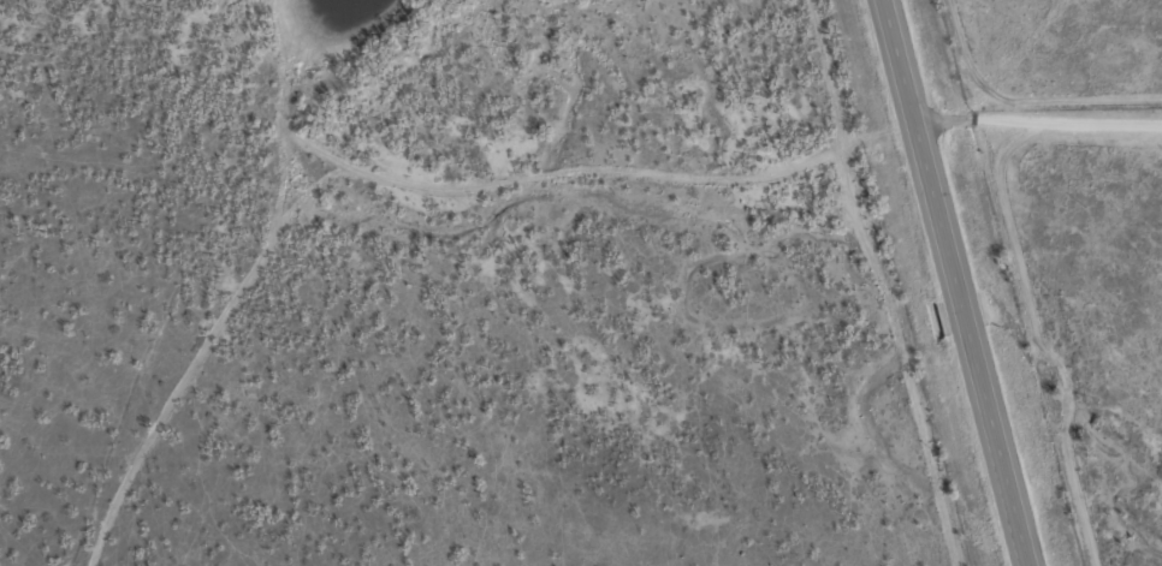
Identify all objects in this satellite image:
road: (1038, 123)
road: (953, 282)

